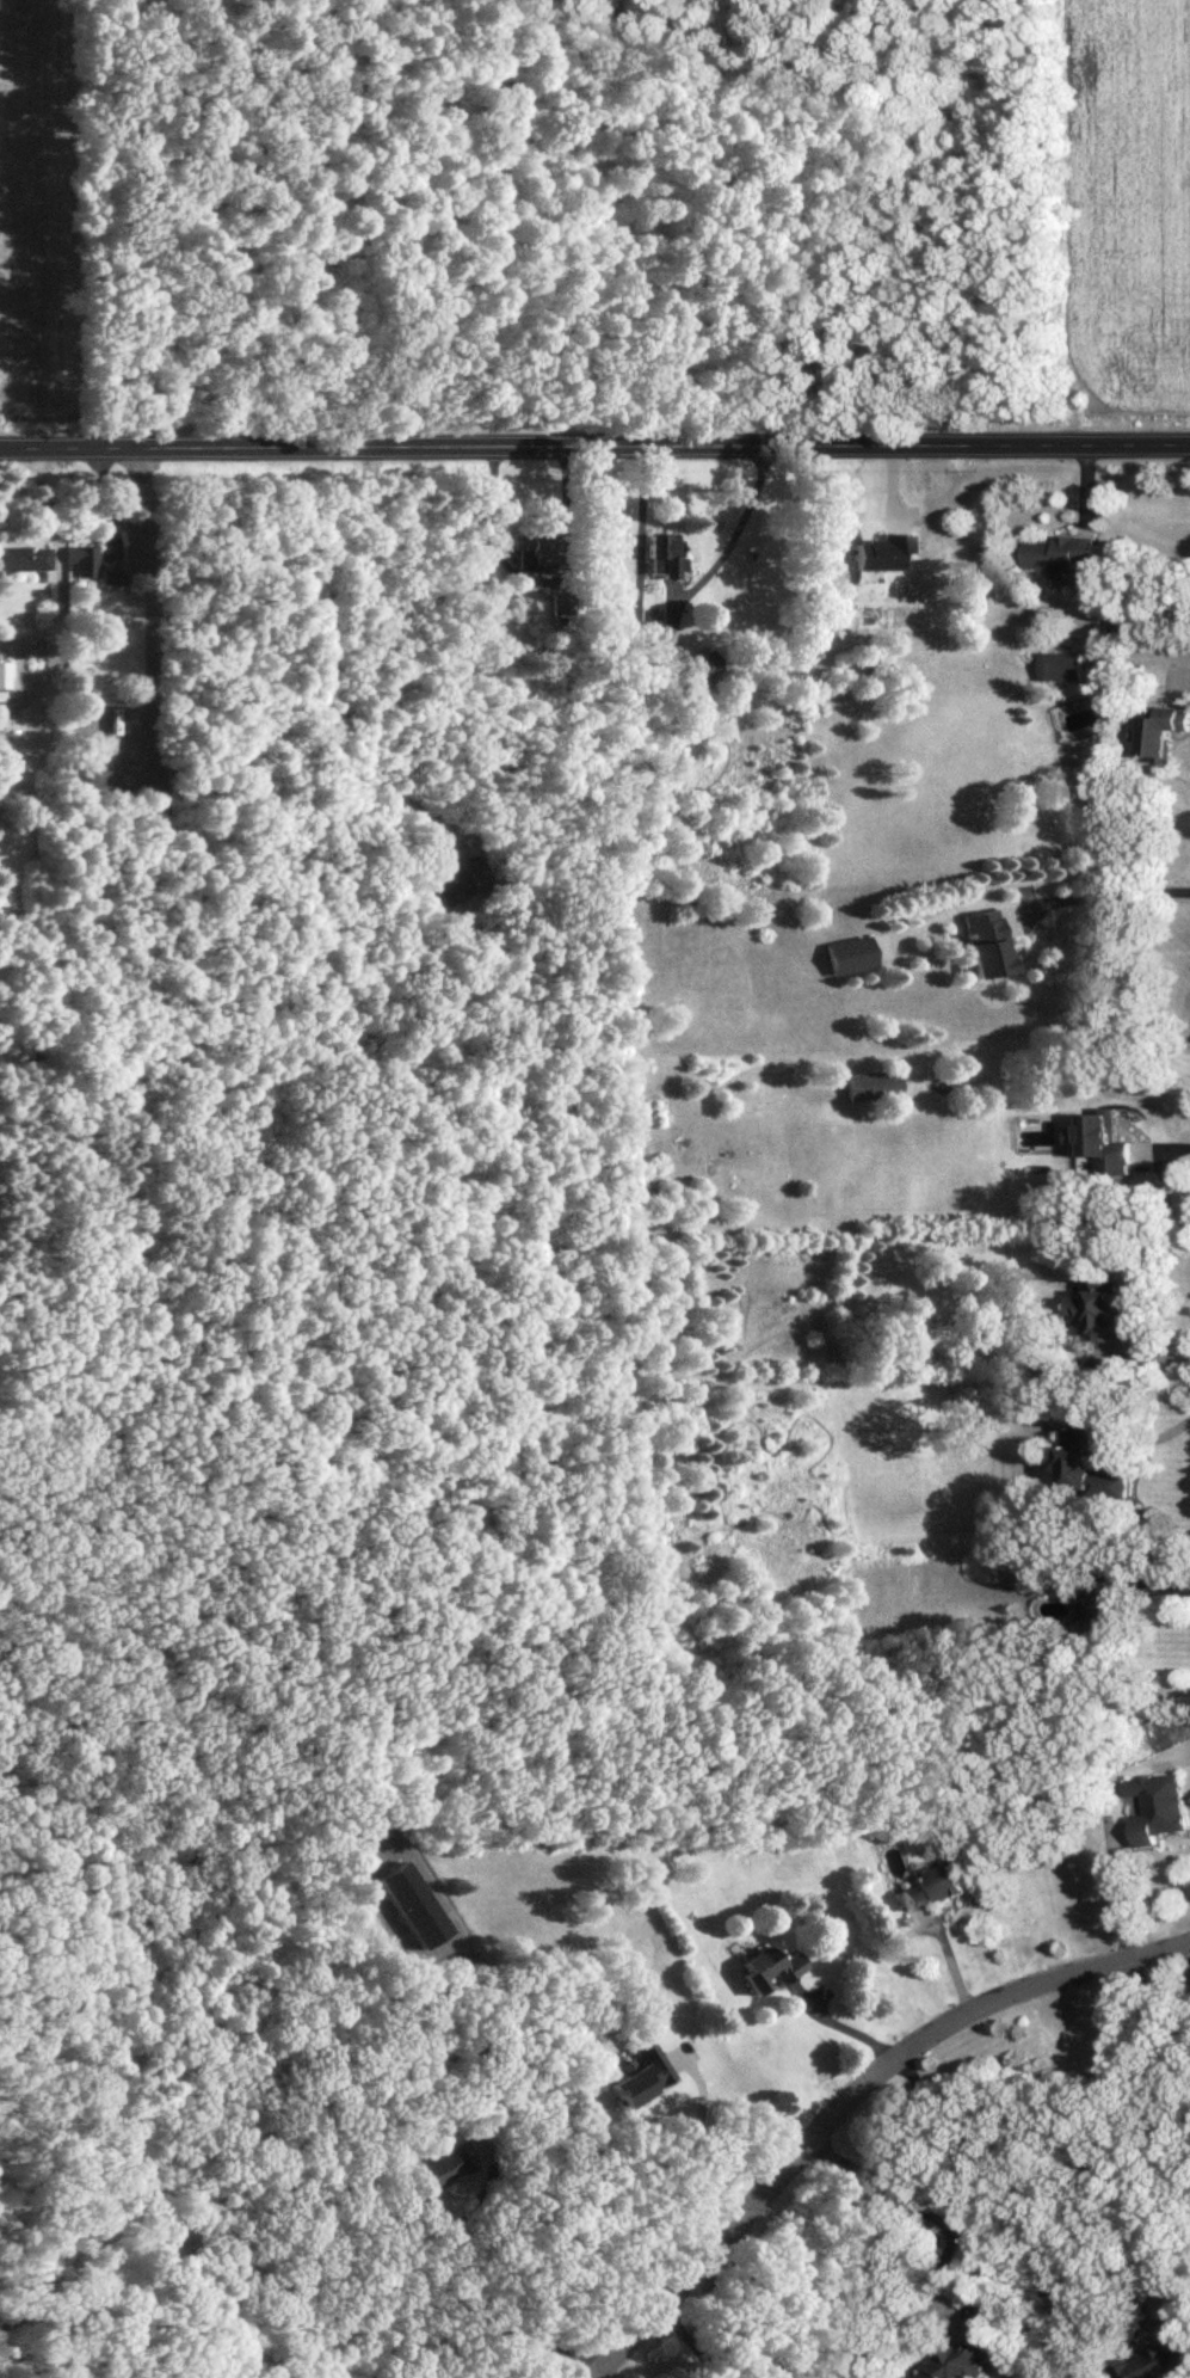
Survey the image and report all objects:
road: (594, 446)
building: (528, 547)
building: (882, 551)
building: (662, 552)
building: (1059, 552)
building: (24, 557)
building: (93, 564)
building: (987, 577)
road: (536, 580)
road: (665, 632)
building: (1061, 666)
building: (4, 674)
road: (1185, 674)
building: (1, 705)
building: (1163, 730)
building: (82, 773)
building: (455, 880)
road: (1106, 893)
building: (984, 942)
building: (849, 954)
building: (1103, 1141)
road: (1163, 1147)
building: (1097, 1307)
road: (1149, 1357)
road: (1155, 1437)
building: (1085, 1465)
road: (1158, 1586)
building: (1098, 1608)
building: (1155, 1806)
building: (933, 1885)
building: (414, 1904)
road: (1189, 1946)
building: (770, 1967)
road: (843, 2022)
road: (1160, 2022)
building: (642, 2072)
road: (850, 2095)
road: (704, 2146)
road: (499, 2150)
road: (1021, 2158)
building: (446, 2165)
road: (924, 2208)
road: (740, 2336)
road: (692, 2340)
building: (967, 2348)
building: (1158, 2352)

